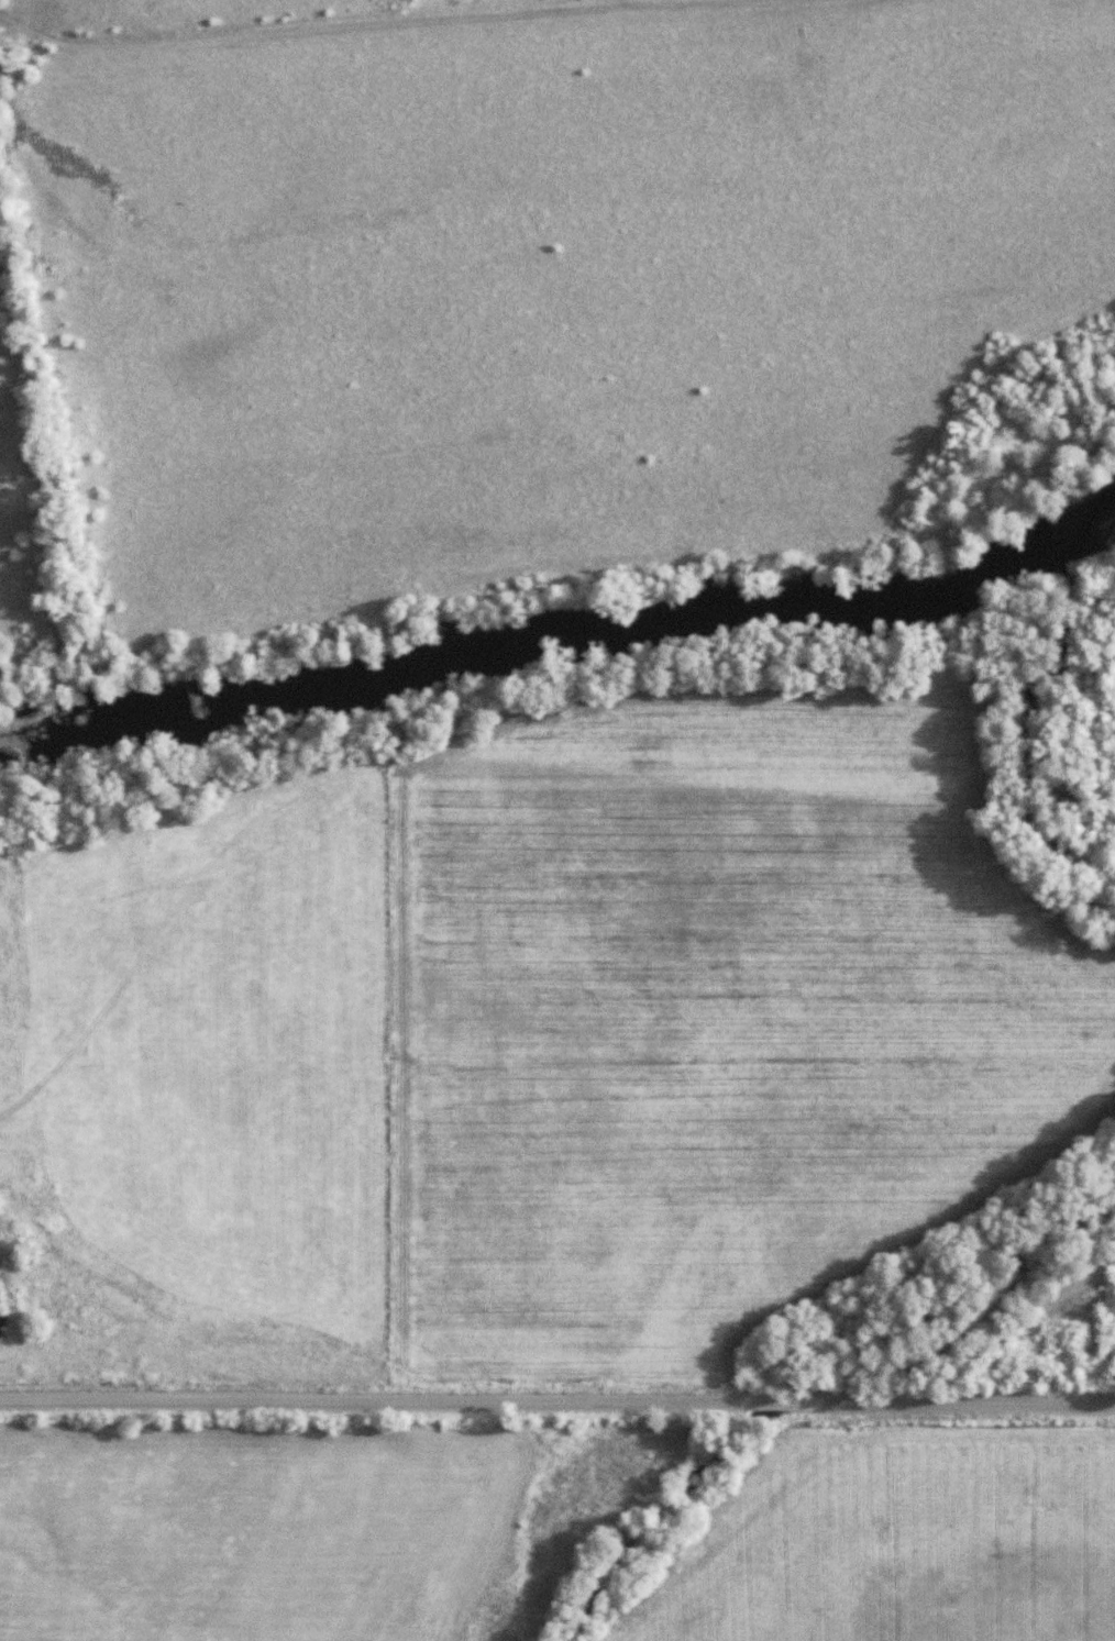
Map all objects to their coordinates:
road: (556, 1402)

